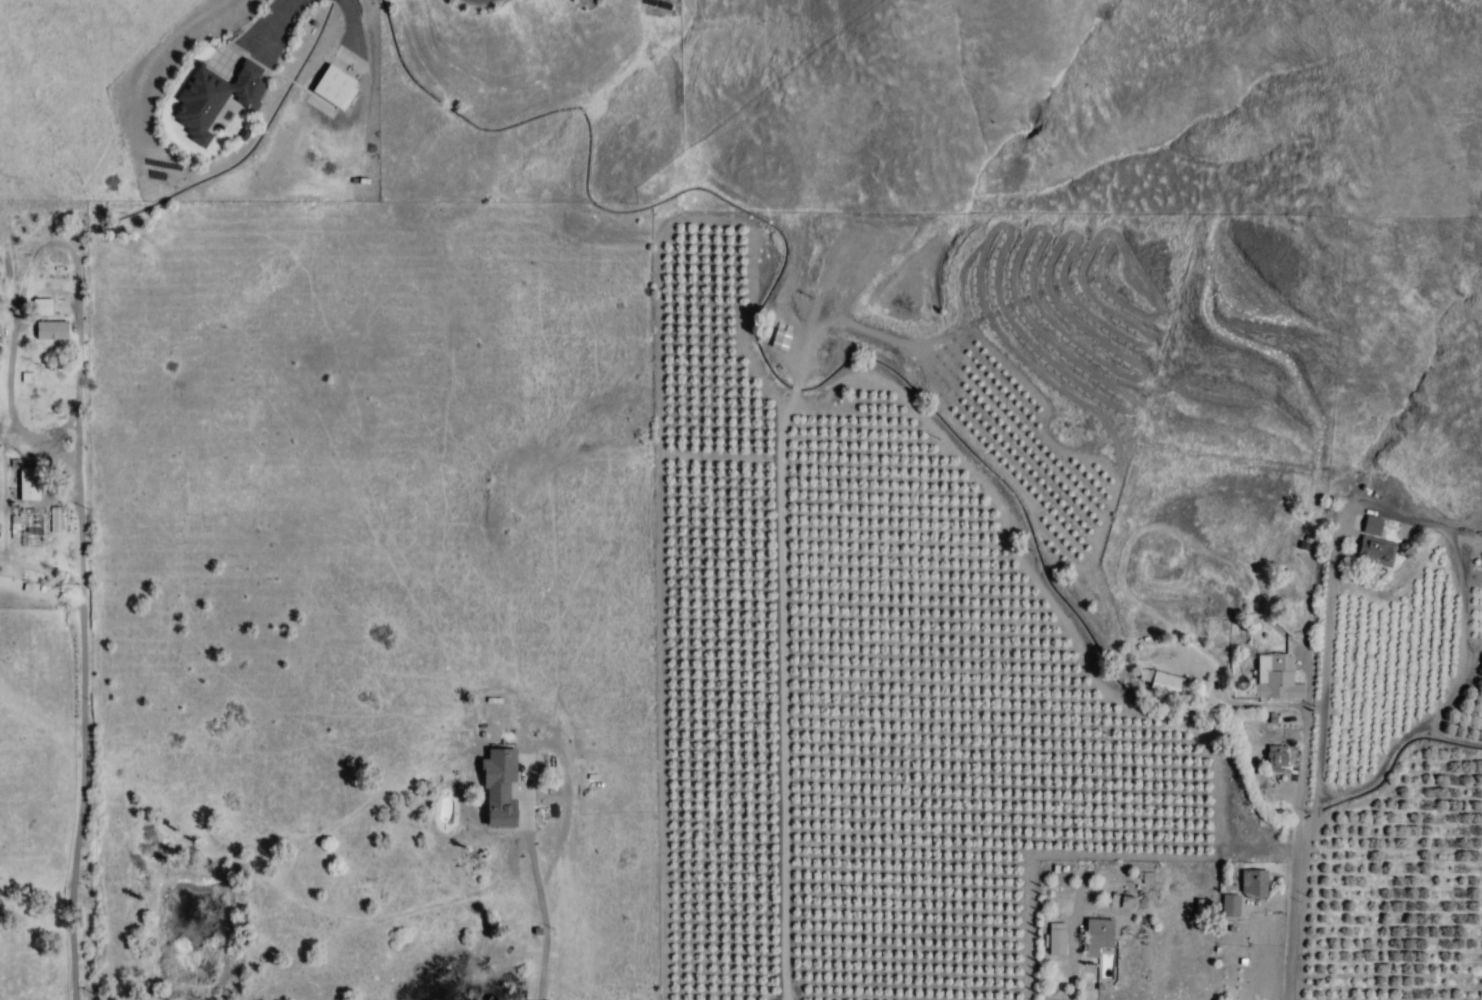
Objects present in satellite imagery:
building: (334, 87)
building: (244, 90)
building: (197, 125)
road: (32, 251)
building: (43, 308)
building: (51, 331)
building: (781, 341)
building: (29, 485)
building: (1376, 543)
crop: (268, 607)
road: (833, 636)
building: (1277, 677)
building: (1164, 683)
road: (82, 730)
building: (1277, 757)
crop: (1404, 783)
road: (1302, 784)
building: (500, 788)
building: (1256, 884)
road: (541, 895)
building: (1124, 902)
building: (1231, 906)
building: (1057, 936)
building: (1103, 951)

